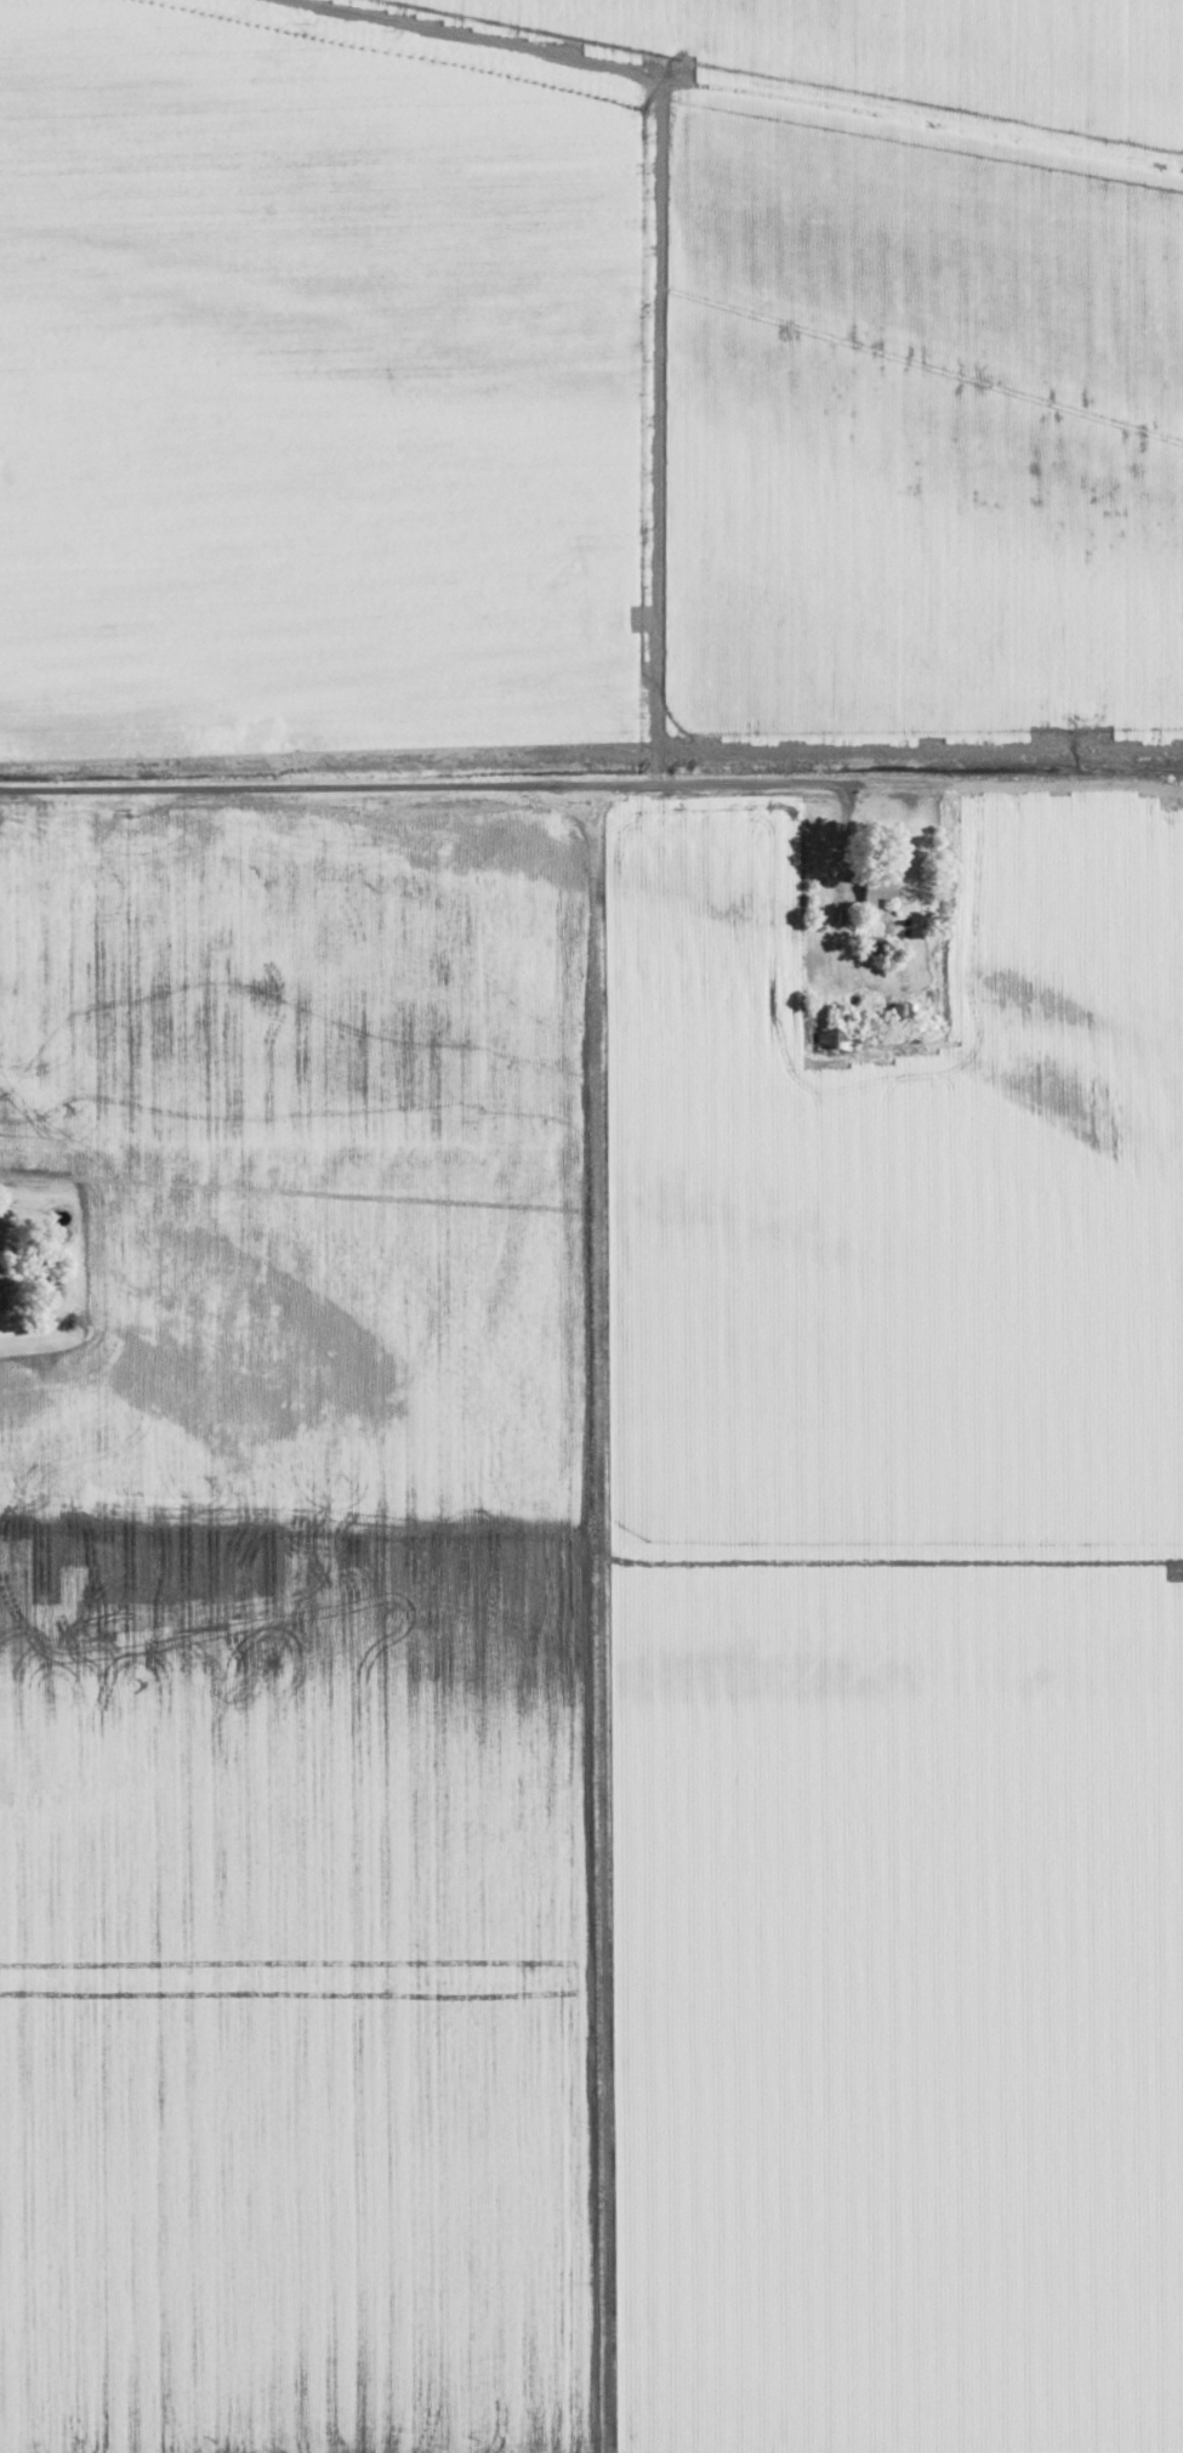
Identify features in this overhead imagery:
road: (591, 785)
building: (872, 891)
building: (874, 1003)
building: (921, 1006)
building: (830, 1026)
road: (1, 1242)

